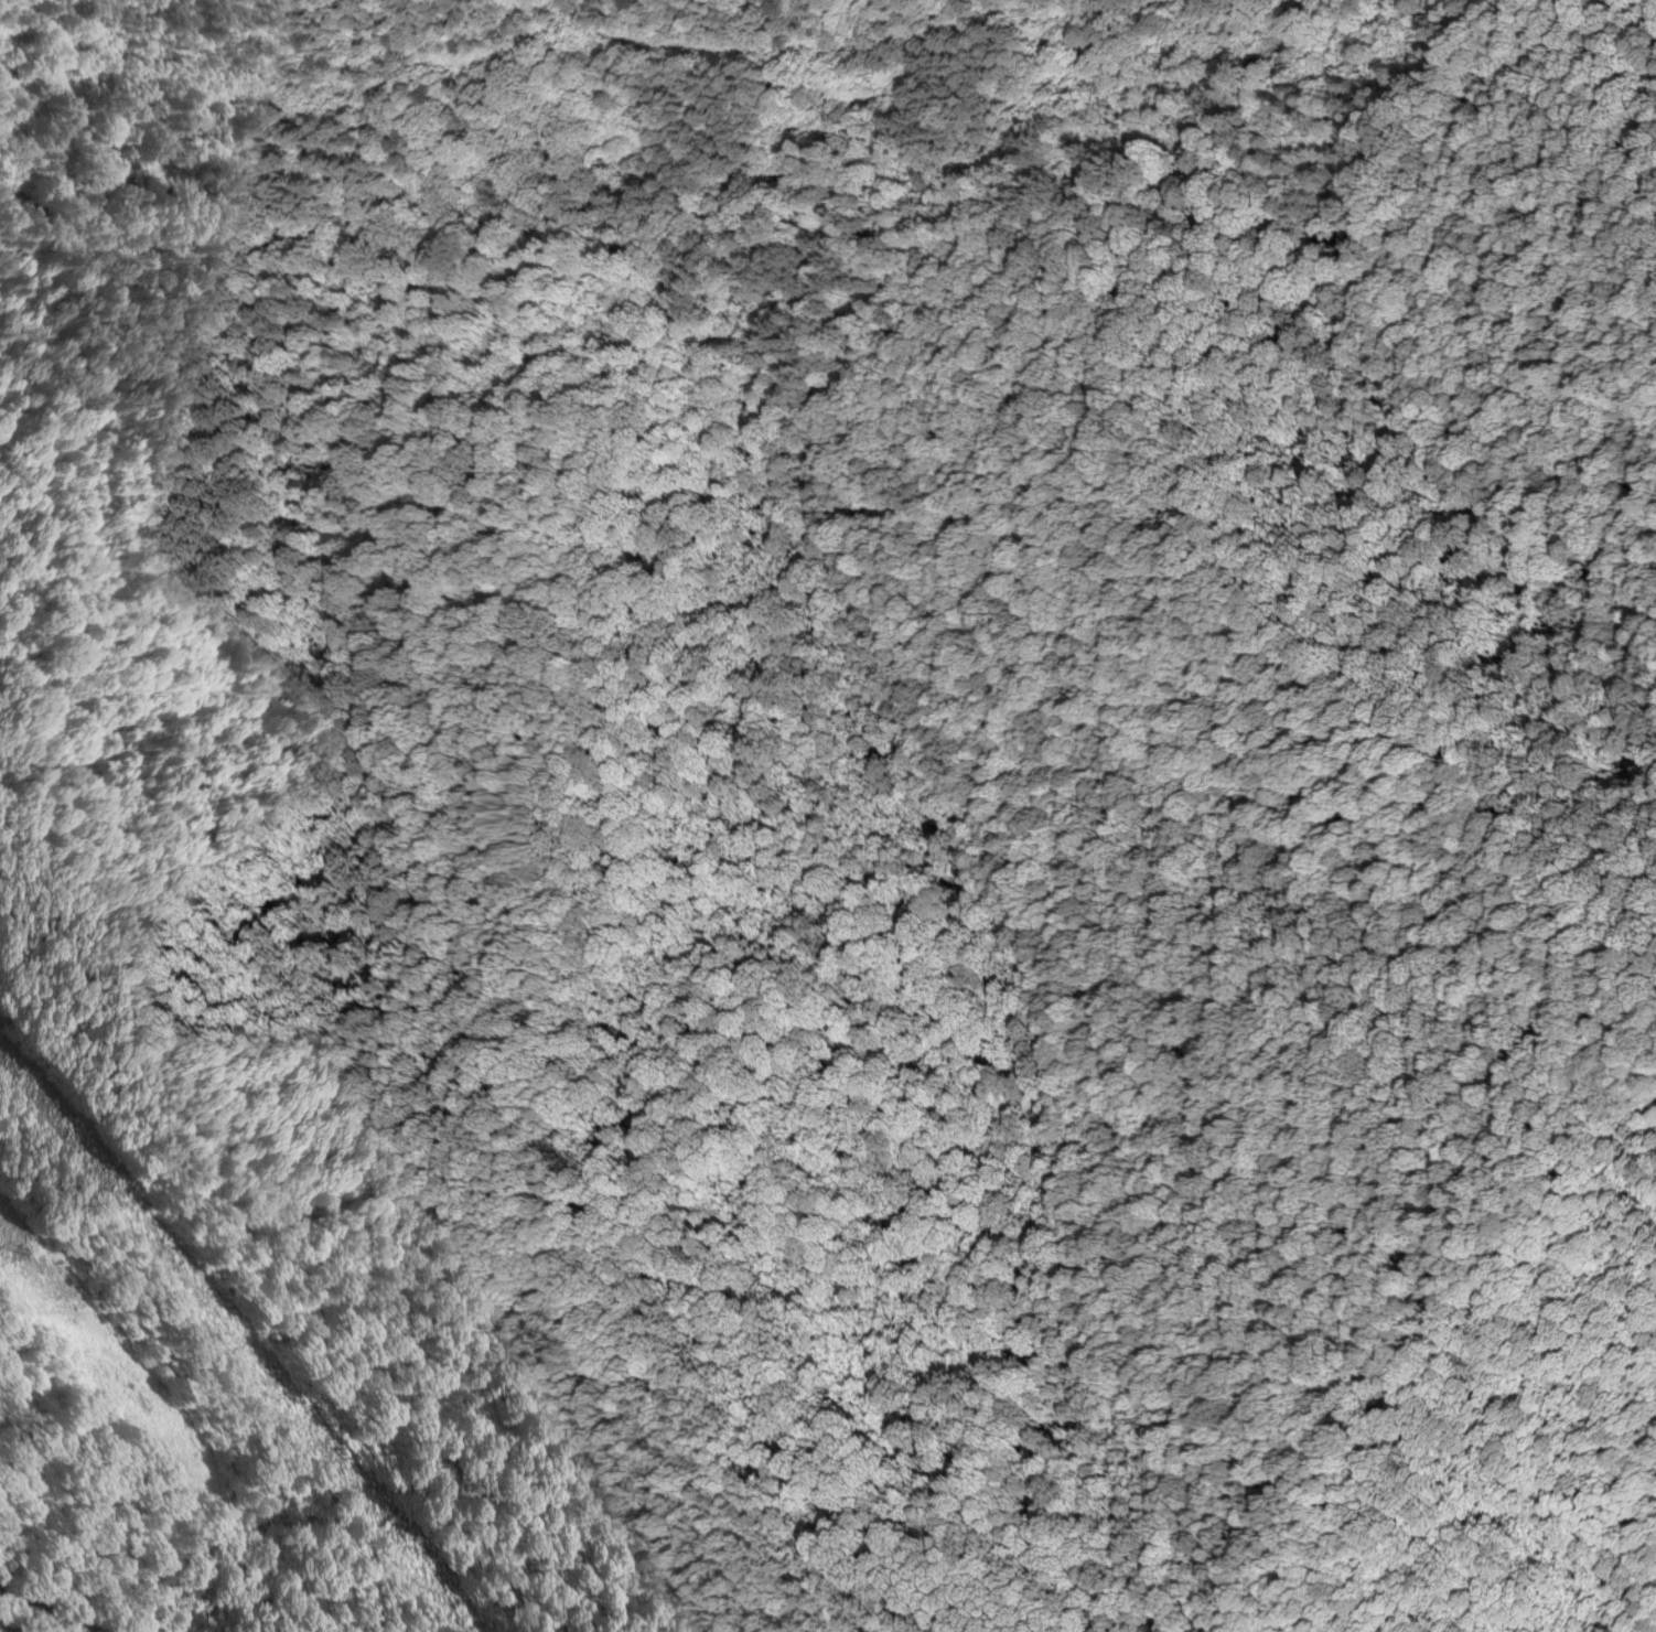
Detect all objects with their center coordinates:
road: (13, 2)
road: (32, 1617)

